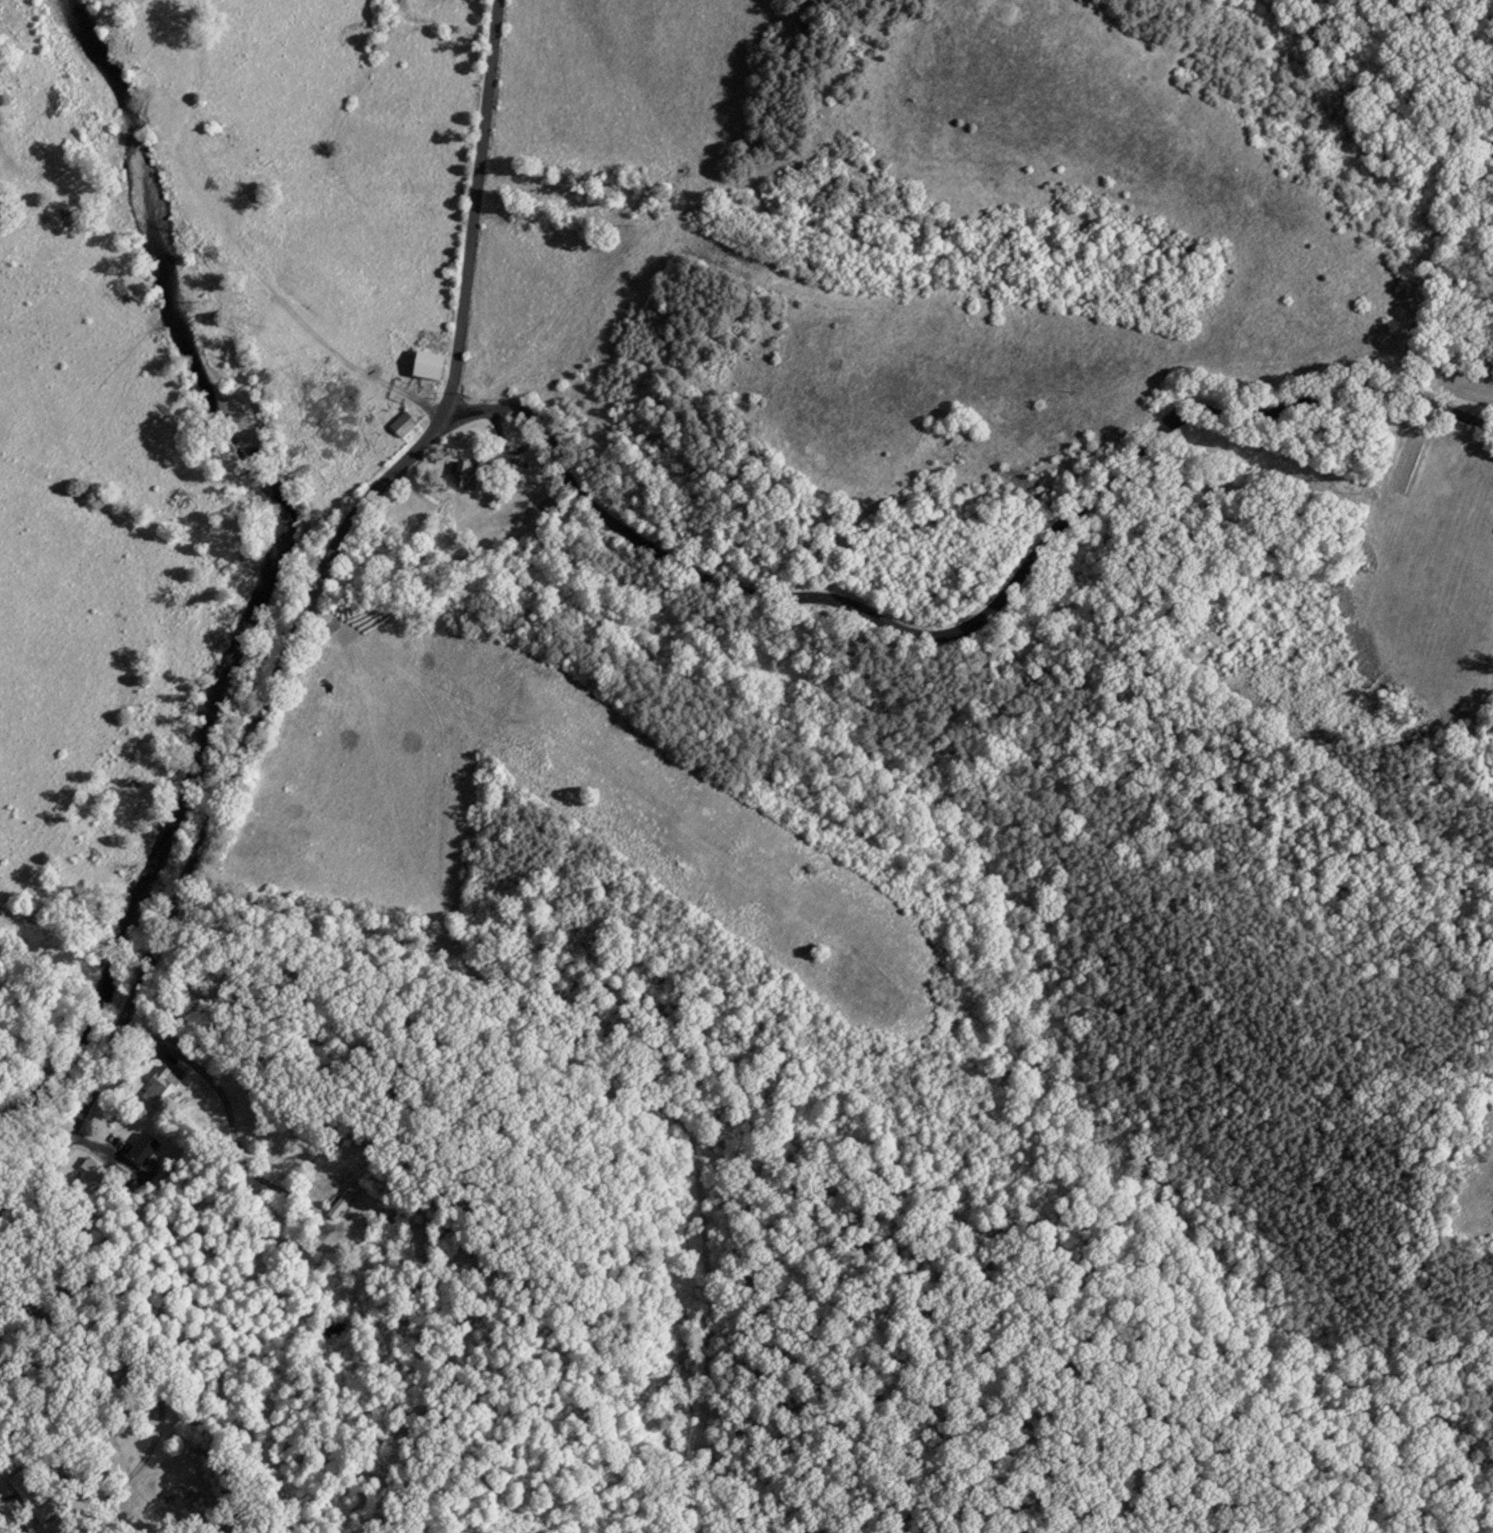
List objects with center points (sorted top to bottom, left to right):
building: (427, 365)
building: (402, 424)
building: (464, 474)
river: (269, 562)
road: (972, 610)
road: (299, 615)
building: (160, 1087)
building: (142, 1149)
building: (92, 1172)
building: (344, 1198)

